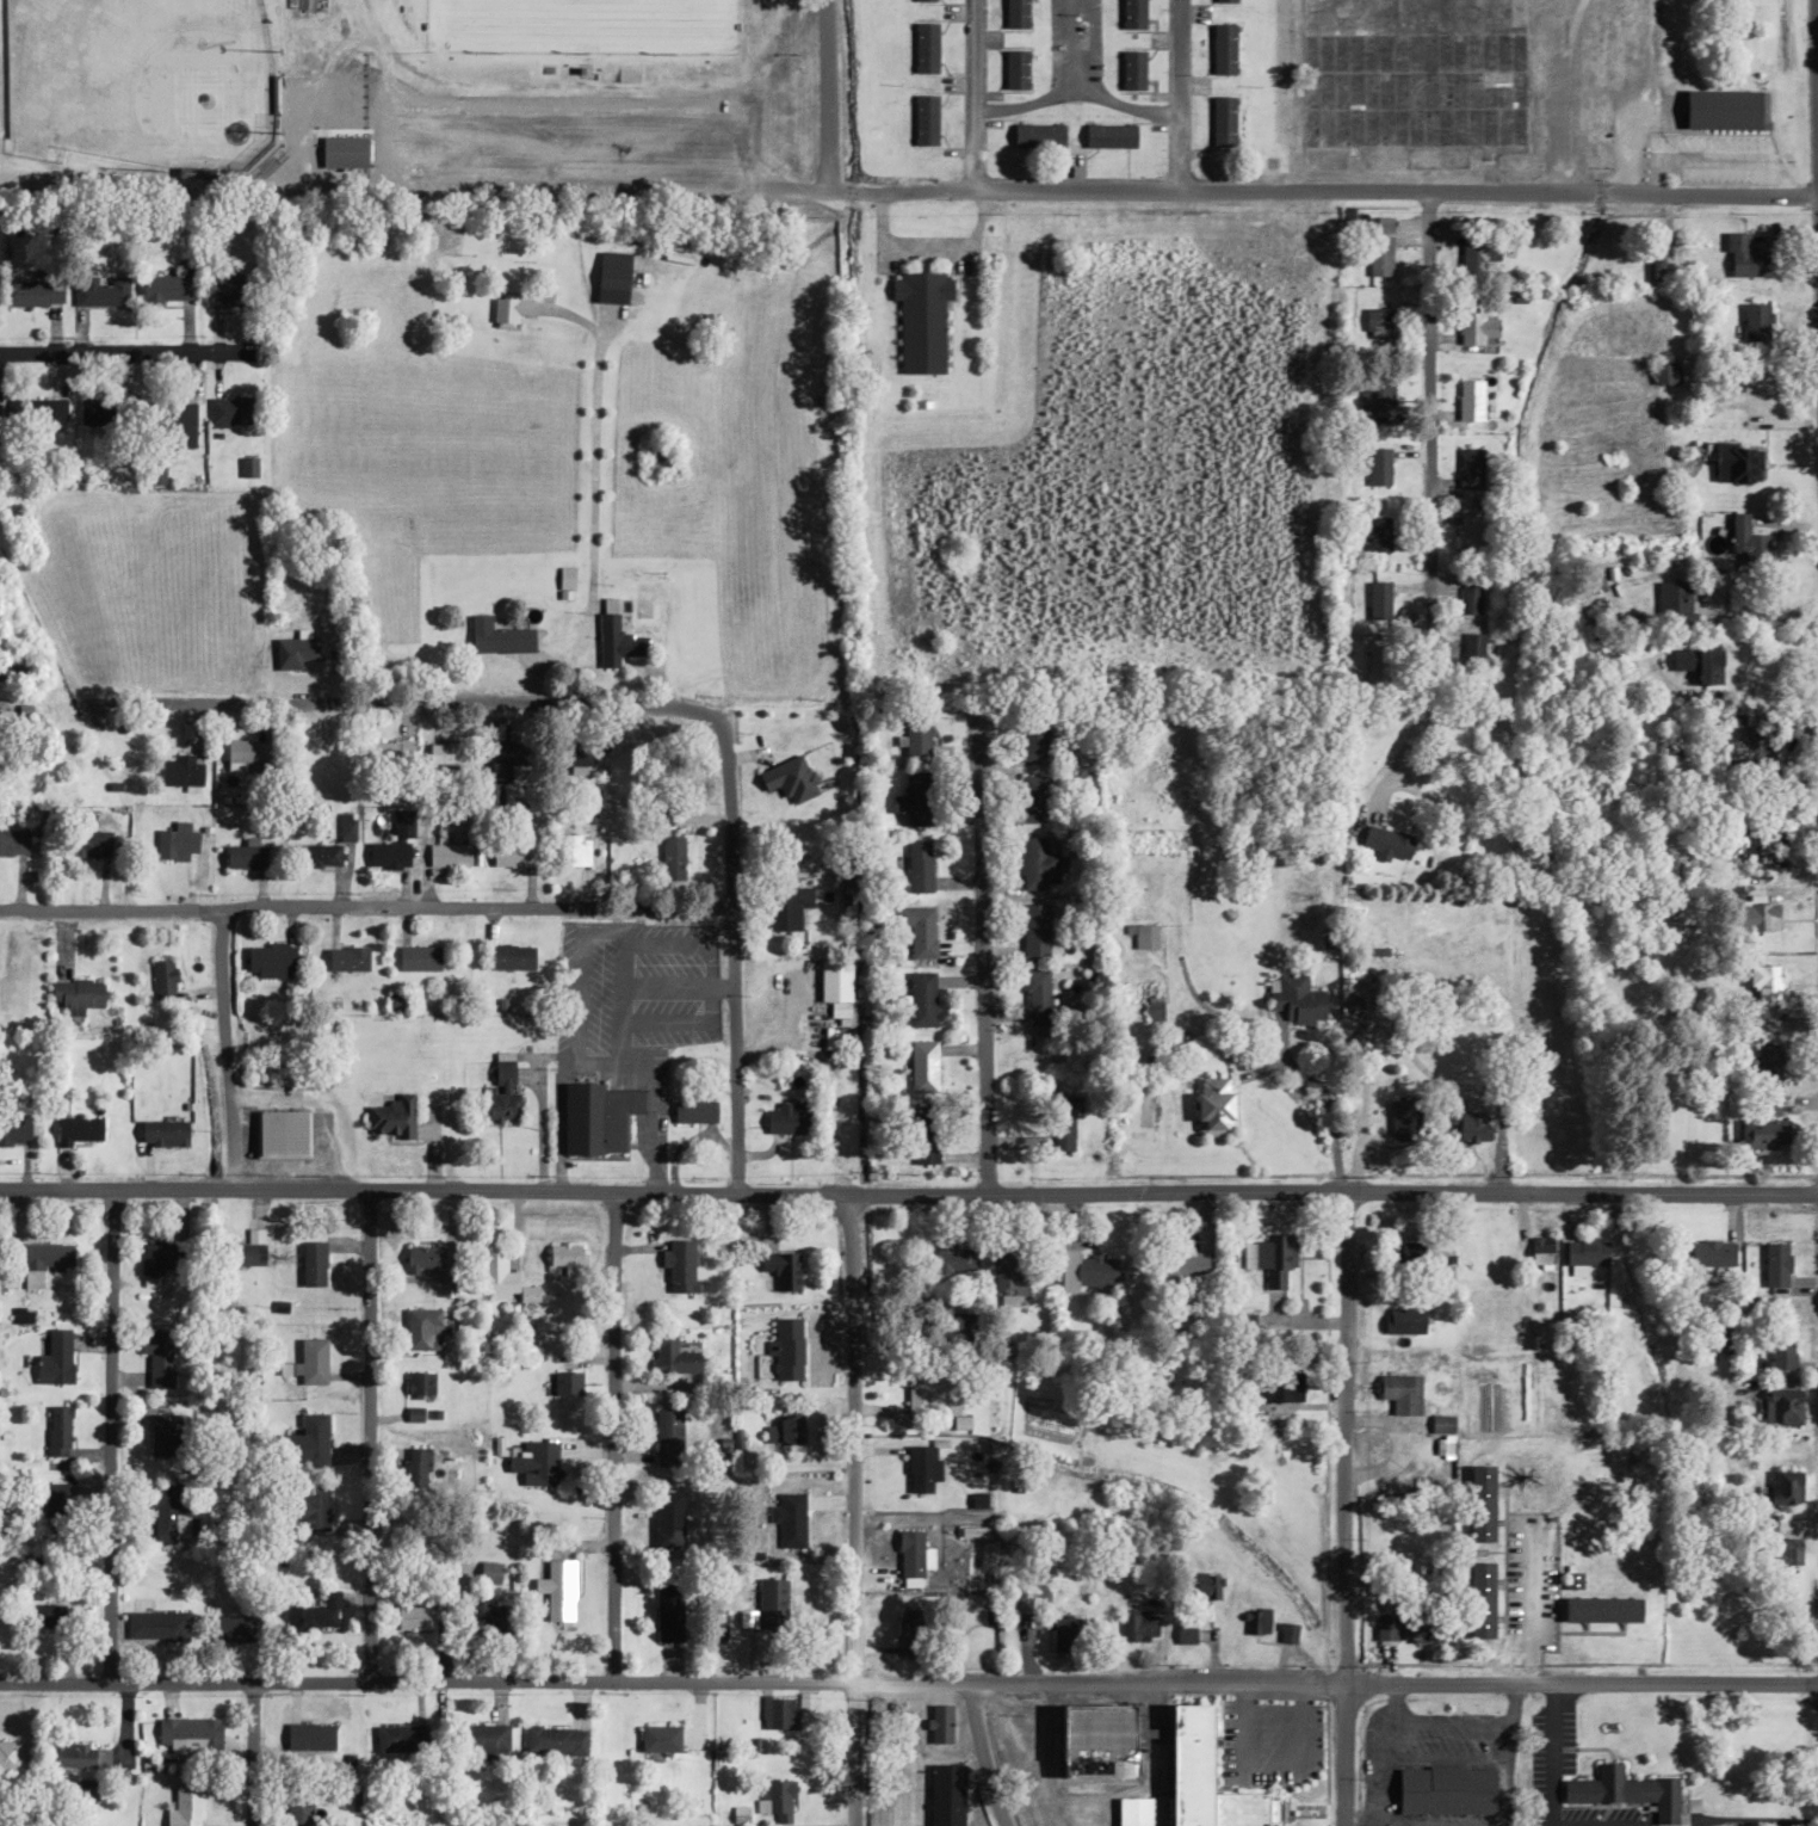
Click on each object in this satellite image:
building: (926, 0)
building: (1223, 1)
building: (1016, 13)
building: (1132, 14)
road: (1070, 44)
building: (925, 48)
building: (1223, 49)
road: (1817, 64)
building: (1015, 69)
building: (1132, 69)
park: (138, 80)
building: (1411, 80)
road: (1075, 90)
road: (1179, 92)
road: (972, 93)
building: (1723, 110)
building: (923, 121)
building: (1223, 121)
building: (1109, 135)
building: (1038, 136)
building: (342, 152)
road: (1396, 185)
building: (1379, 255)
building: (1744, 258)
building: (612, 278)
building: (167, 289)
building: (100, 290)
building: (229, 290)
building: (27, 294)
building: (921, 320)
building: (1377, 321)
building: (1756, 321)
building: (1477, 325)
road: (123, 352)
building: (1664, 374)
building: (1375, 396)
building: (1470, 400)
building: (39, 409)
building: (229, 411)
building: (93, 412)
building: (168, 427)
road: (1427, 432)
building: (1737, 463)
building: (1378, 467)
building: (247, 468)
building: (1470, 469)
building: (154, 471)
building: (1378, 533)
building: (1468, 533)
building: (1746, 538)
building: (564, 582)
building: (1670, 593)
building: (1468, 597)
building: (608, 602)
building: (1378, 602)
building: (497, 636)
building: (614, 642)
building: (1471, 647)
building: (1696, 661)
building: (14, 665)
building: (290, 667)
road: (406, 702)
building: (916, 733)
building: (1032, 735)
building: (1745, 745)
building: (392, 747)
building: (245, 749)
road: (1397, 751)
building: (580, 754)
building: (508, 757)
building: (180, 770)
building: (1031, 796)
building: (916, 797)
building: (346, 826)
building: (13, 841)
building: (178, 841)
building: (1387, 843)
building: (88, 844)
building: (394, 844)
building: (575, 850)
building: (512, 851)
building: (320, 852)
building: (450, 853)
building: (246, 856)
building: (672, 856)
building: (1037, 862)
building: (917, 864)
road: (364, 905)
building: (785, 906)
building: (1758, 915)
building: (1034, 927)
building: (920, 931)
building: (1143, 934)
building: (508, 956)
road: (729, 956)
building: (418, 957)
building: (347, 958)
building: (271, 960)
building: (163, 980)
building: (833, 982)
building: (1763, 983)
road: (979, 989)
building: (76, 992)
building: (1035, 997)
building: (921, 998)
building: (1293, 999)
road: (223, 1049)
building: (1764, 1062)
building: (922, 1066)
building: (503, 1073)
building: (1213, 1105)
building: (693, 1110)
building: (596, 1117)
building: (790, 1117)
building: (1404, 1118)
building: (1064, 1119)
building: (1467, 1125)
building: (78, 1129)
building: (13, 1131)
building: (163, 1131)
building: (280, 1131)
building: (1764, 1131)
building: (925, 1137)
road: (908, 1196)
building: (248, 1248)
building: (1540, 1252)
building: (1587, 1252)
building: (1712, 1252)
building: (422, 1256)
building: (948, 1256)
building: (1272, 1256)
building: (565, 1257)
building: (156, 1258)
building: (43, 1259)
building: (313, 1261)
building: (1183, 1263)
building: (1776, 1264)
building: (680, 1265)
building: (783, 1269)
building: (1086, 1270)
building: (494, 1272)
building: (1003, 1272)
building: (1404, 1320)
building: (421, 1328)
building: (787, 1349)
building: (1781, 1350)
building: (670, 1355)
building: (156, 1356)
building: (55, 1357)
building: (311, 1361)
building: (565, 1382)
building: (418, 1383)
building: (1285, 1383)
building: (932, 1392)
building: (1400, 1392)
building: (1782, 1405)
building: (57, 1430)
building: (667, 1430)
building: (789, 1430)
building: (163, 1435)
road: (107, 1436)
road: (366, 1436)
road: (612, 1436)
road: (1341, 1438)
building: (309, 1441)
road: (848, 1441)
building: (534, 1462)
building: (415, 1467)
building: (922, 1468)
building: (1785, 1486)
building: (1479, 1503)
building: (50, 1504)
building: (314, 1507)
building: (172, 1512)
building: (667, 1518)
building: (791, 1520)
building: (910, 1553)
building: (1785, 1554)
building: (1205, 1586)
building: (558, 1587)
building: (1479, 1599)
building: (772, 1604)
building: (1601, 1609)
building: (668, 1612)
building: (316, 1614)
building: (49, 1615)
building: (487, 1615)
building: (412, 1616)
building: (1257, 1621)
building: (1385, 1623)
building: (1138, 1624)
building: (157, 1625)
building: (1417, 1627)
building: (235, 1628)
building: (913, 1631)
building: (1286, 1631)
building: (1065, 1634)
building: (1185, 1635)
road: (908, 1684)
building: (783, 1711)
building: (940, 1722)
building: (190, 1735)
building: (401, 1738)
building: (658, 1738)
building: (480, 1739)
building: (554, 1740)
building: (1095, 1740)
building: (8, 1754)
road: (251, 1754)
road: (1342, 1754)
road: (852, 1756)
building: (79, 1757)
building: (1189, 1764)
building: (1446, 1790)
building: (1625, 1790)
building: (946, 1795)
building: (777, 1799)
building: (185, 1806)
building: (1244, 1809)
building: (297, 1810)
building: (1132, 1812)

